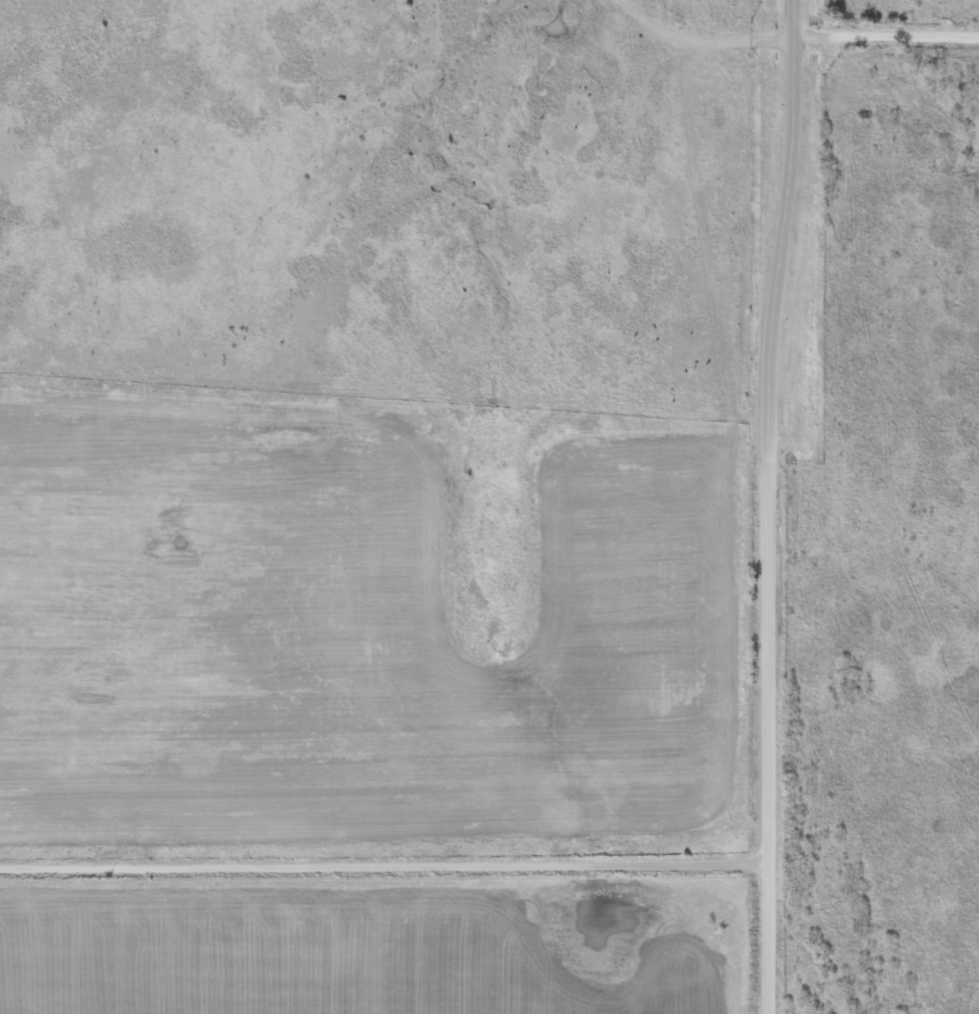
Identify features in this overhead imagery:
road: (886, 35)
road: (779, 235)
road: (772, 742)
road: (386, 865)

